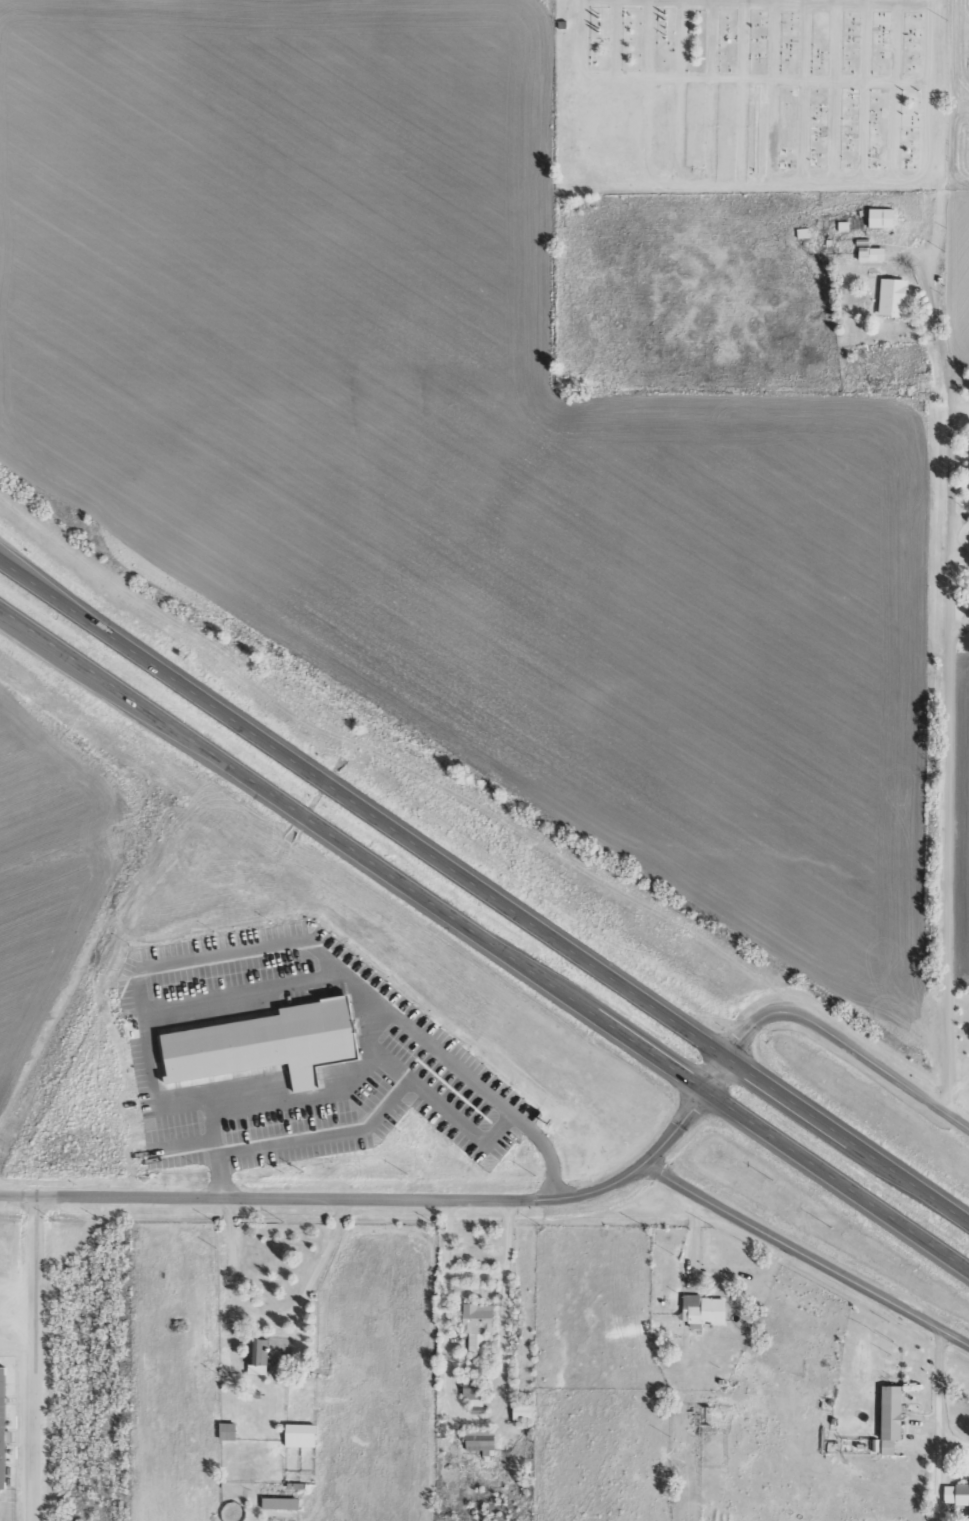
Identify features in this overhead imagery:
road: (838, 1)
road: (617, 38)
road: (721, 77)
road: (865, 90)
road: (894, 90)
road: (772, 91)
road: (804, 91)
road: (835, 91)
road: (945, 91)
road: (649, 92)
road: (680, 92)
road: (712, 92)
road: (742, 92)
park: (744, 94)
road: (857, 181)
building: (882, 218)
building: (844, 226)
building: (872, 254)
building: (893, 297)
road: (30, 573)
road: (30, 578)
road: (13, 619)
road: (13, 621)
road: (951, 746)
road: (393, 830)
road: (368, 856)
road: (223, 953)
road: (260, 994)
building: (274, 1042)
road: (846, 1045)
road: (403, 1085)
road: (850, 1137)
road: (839, 1174)
road: (394, 1195)
road: (806, 1251)
building: (702, 1309)
building: (478, 1325)
building: (258, 1355)
road: (36, 1356)
building: (475, 1395)
building: (523, 1411)
building: (890, 1413)
road: (935, 1422)
building: (3, 1425)
building: (301, 1435)
building: (481, 1441)
building: (956, 1494)
building: (282, 1503)

